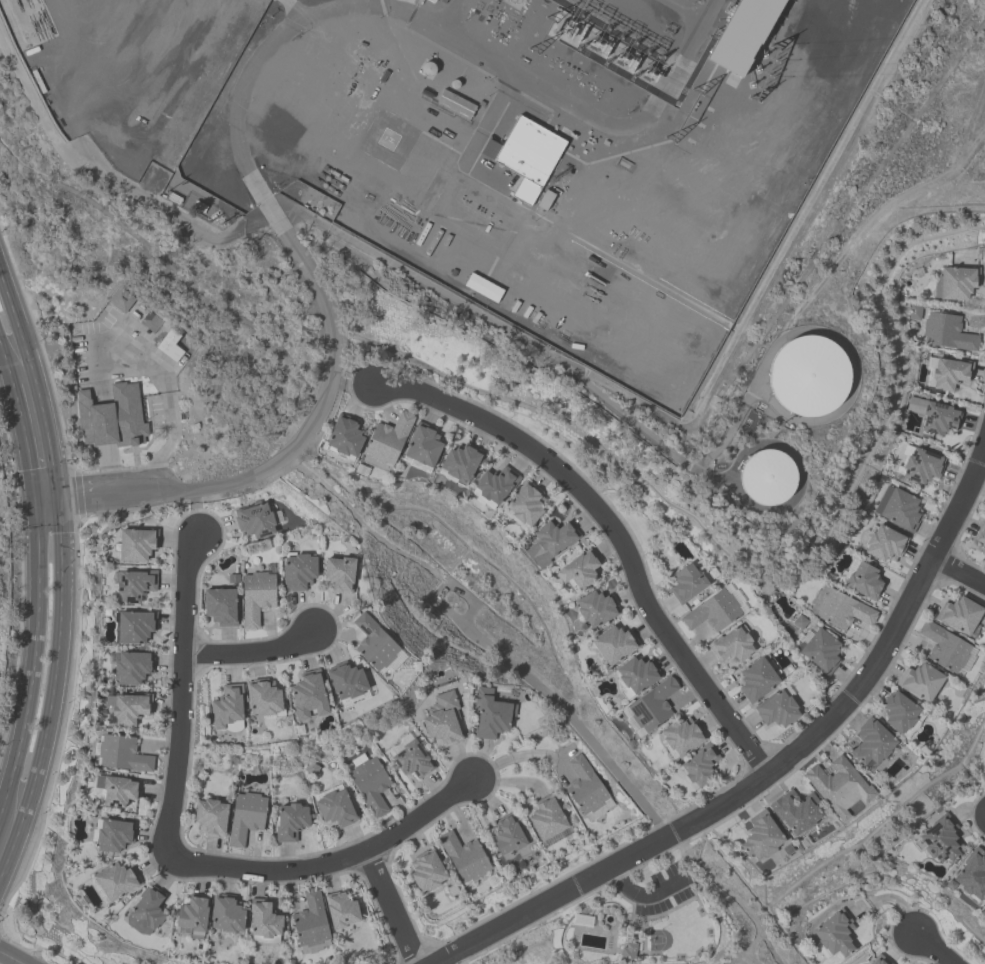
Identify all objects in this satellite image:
building: (436, 2)
building: (744, 35)
road: (72, 48)
helipad: (389, 138)
power substation: (547, 155)
building: (528, 160)
building: (957, 285)
building: (484, 289)
building: (121, 301)
building: (947, 334)
building: (170, 346)
road: (6, 368)
building: (948, 375)
water tower: (799, 377)
building: (810, 377)
road: (327, 388)
building: (113, 418)
building: (939, 419)
building: (345, 438)
road: (24, 443)
building: (387, 443)
building: (424, 448)
building: (460, 465)
building: (920, 465)
building: (768, 478)
water tower: (755, 479)
building: (496, 487)
road: (103, 495)
traffic signals: (56, 499)
traffic signals: (34, 501)
building: (527, 506)
building: (900, 510)
building: (256, 521)
road: (614, 532)
building: (981, 540)
building: (883, 543)
building: (551, 544)
building: (136, 547)
building: (300, 571)
road: (957, 571)
building: (578, 572)
building: (340, 573)
road: (61, 578)
building: (862, 581)
building: (688, 583)
building: (134, 588)
building: (257, 597)
building: (221, 607)
building: (841, 609)
building: (596, 610)
building: (716, 611)
building: (961, 616)
building: (134, 629)
building: (377, 645)
building: (613, 646)
building: (733, 646)
building: (948, 650)
building: (819, 651)
road: (252, 653)
road: (33, 659)
building: (132, 670)
building: (635, 677)
building: (758, 681)
building: (348, 683)
road: (180, 696)
building: (310, 697)
building: (911, 700)
building: (265, 701)
building: (228, 708)
building: (650, 709)
building: (129, 711)
building: (778, 711)
building: (491, 715)
building: (443, 723)
building: (682, 738)
building: (873, 745)
building: (122, 756)
building: (413, 762)
road: (778, 767)
building: (700, 769)
building: (371, 787)
building: (587, 790)
building: (118, 794)
building: (819, 797)
building: (335, 810)
building: (232, 819)
building: (550, 822)
building: (291, 824)
building: (508, 836)
building: (114, 837)
building: (760, 841)
building: (943, 843)
building: (465, 859)
road: (331, 862)
building: (427, 873)
building: (972, 876)
building: (116, 883)
road: (640, 895)
road: (391, 908)
building: (148, 913)
building: (984, 917)
building: (228, 918)
building: (192, 919)
building: (322, 920)
building: (583, 920)
building: (265, 923)
building: (834, 935)
road: (932, 946)
building: (628, 952)
road: (7, 960)
building: (880, 961)

